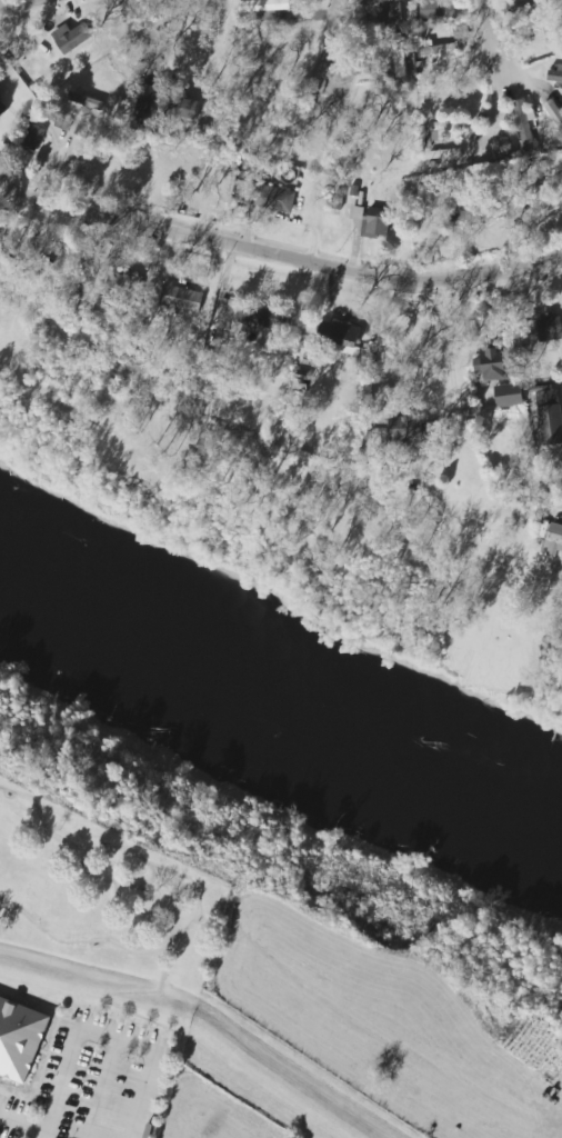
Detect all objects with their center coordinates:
road: (16, 3)
building: (530, 4)
building: (270, 9)
building: (438, 9)
building: (380, 11)
road: (134, 24)
building: (462, 31)
building: (70, 34)
building: (417, 34)
road: (496, 40)
building: (438, 47)
road: (332, 48)
building: (398, 53)
building: (555, 74)
building: (0, 88)
building: (86, 101)
building: (179, 104)
building: (2, 109)
building: (554, 111)
building: (523, 126)
building: (440, 131)
building: (34, 138)
building: (539, 169)
building: (353, 189)
building: (338, 199)
building: (279, 200)
building: (465, 213)
building: (374, 221)
road: (278, 254)
building: (12, 263)
building: (127, 288)
building: (181, 298)
building: (261, 316)
building: (550, 327)
building: (343, 336)
road: (452, 360)
building: (492, 365)
building: (509, 395)
building: (550, 415)
building: (411, 432)
building: (553, 537)
river: (274, 717)
road: (41, 818)
road: (150, 880)
road: (195, 890)
road: (138, 912)
road: (82, 940)
road: (103, 998)
building: (20, 1035)
road: (117, 1039)
parking lot: (93, 1080)
road: (62, 1084)
road: (103, 1089)
road: (141, 1095)
road: (23, 1125)

